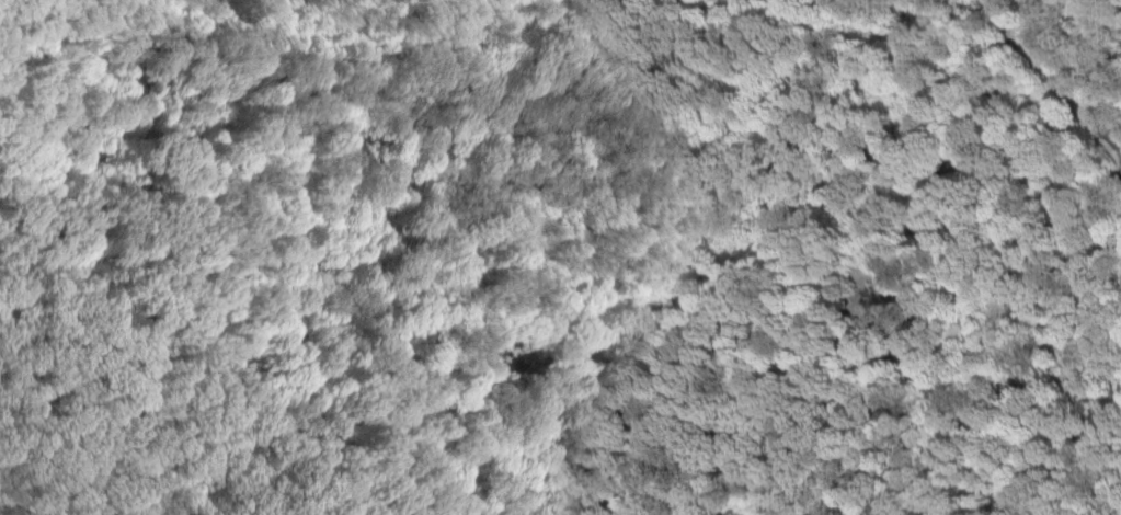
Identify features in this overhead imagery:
road: (1102, 16)
road: (661, 204)
road: (173, 205)
road: (159, 373)

